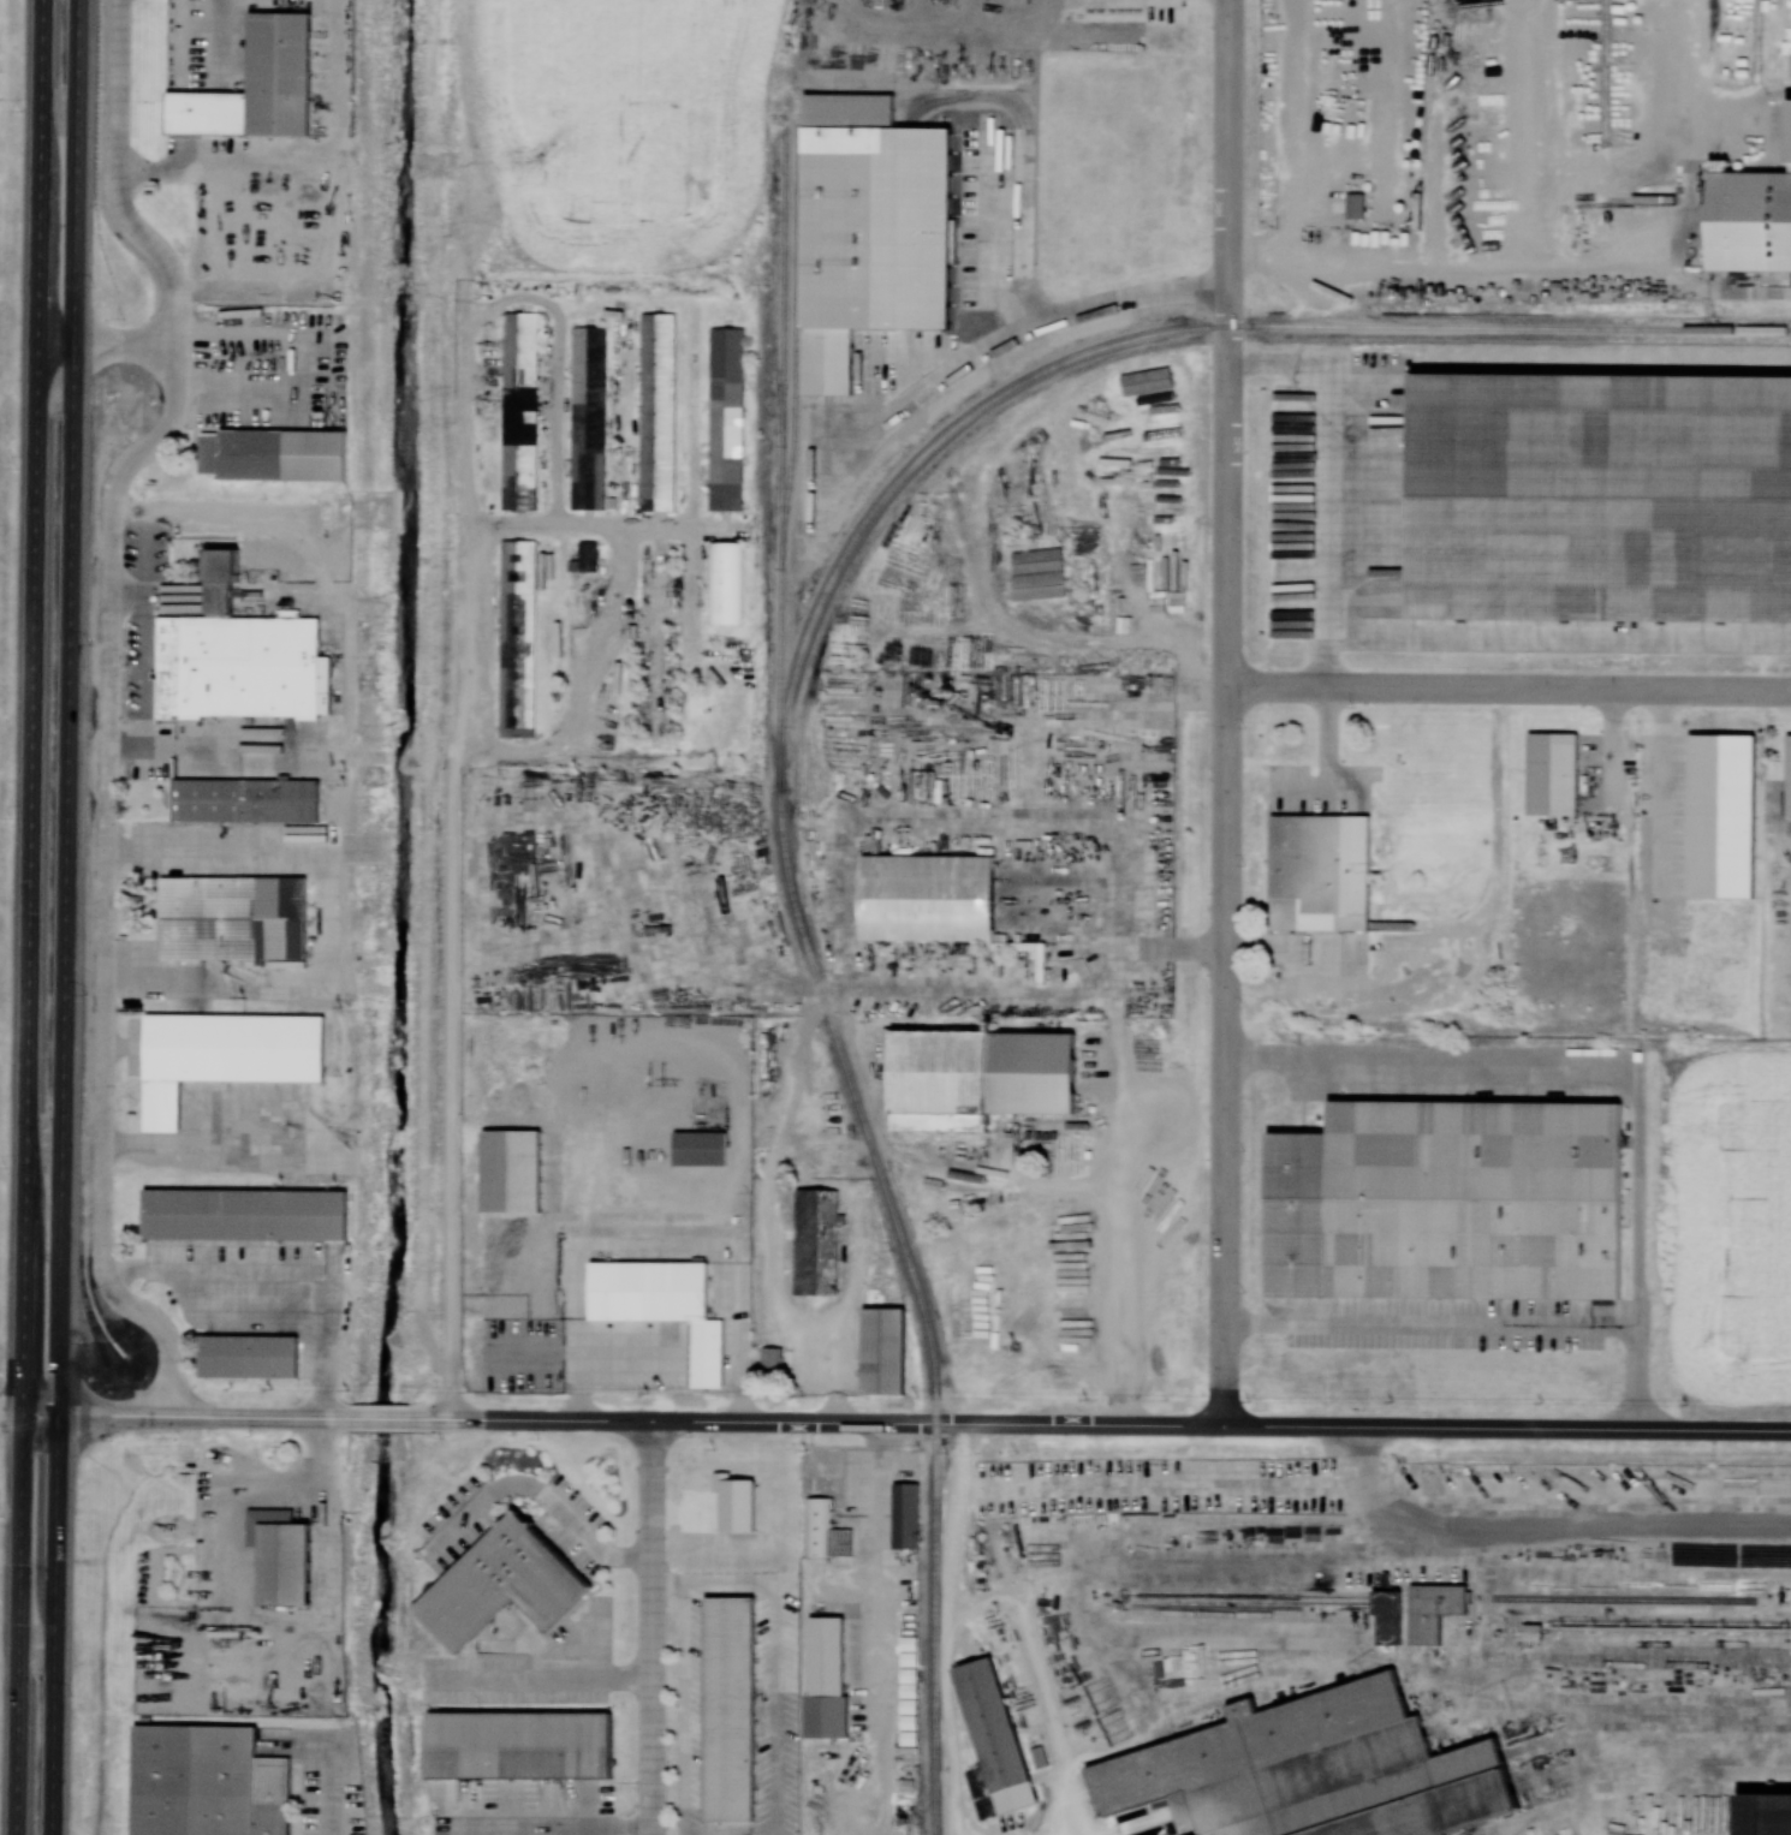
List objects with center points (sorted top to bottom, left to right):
building: (279, 65)
road: (1530, 132)
road: (1289, 157)
road: (224, 169)
building: (1355, 205)
landfill: (2, 216)
road: (337, 218)
building: (1750, 222)
building: (877, 227)
road: (1021, 261)
road: (1540, 263)
railway: (797, 329)
road: (107, 347)
building: (1147, 381)
road: (920, 385)
building: (522, 412)
building: (659, 412)
building: (590, 418)
building: (727, 422)
railway: (783, 449)
building: (285, 455)
road: (1323, 476)
building: (1601, 487)
road: (218, 513)
building: (220, 561)
building: (725, 584)
road: (1557, 634)
building: (520, 639)
railway: (792, 684)
road: (1509, 689)
road: (108, 701)
road: (1227, 713)
building: (1552, 774)
building: (1789, 778)
building: (245, 798)
building: (1320, 872)
building: (927, 888)
road: (30, 917)
road: (65, 917)
building: (231, 918)
road: (325, 921)
road: (659, 1044)
building: (234, 1048)
building: (936, 1061)
road: (1560, 1066)
building: (698, 1139)
road: (188, 1150)
building: (512, 1163)
building: (1448, 1202)
building: (244, 1208)
building: (817, 1233)
road: (227, 1273)
building: (649, 1285)
road: (240, 1317)
road: (1487, 1324)
building: (249, 1350)
building: (886, 1354)
building: (772, 1362)
road: (11, 1411)
road: (905, 1423)
road: (541, 1495)
building: (739, 1503)
road: (323, 1511)
building: (908, 1514)
building: (826, 1531)
road: (238, 1538)
building: (285, 1553)
road: (875, 1575)
road: (714, 1583)
building: (502, 1584)
building: (1433, 1610)
building: (1387, 1616)
building: (1404, 1621)
road: (653, 1628)
road: (542, 1679)
building: (827, 1681)
road: (684, 1708)
building: (732, 1708)
road: (775, 1709)
building: (517, 1738)
building: (993, 1741)
building: (1310, 1771)
building: (194, 1776)
road: (331, 1787)
building: (1767, 1815)
road: (546, 1828)

